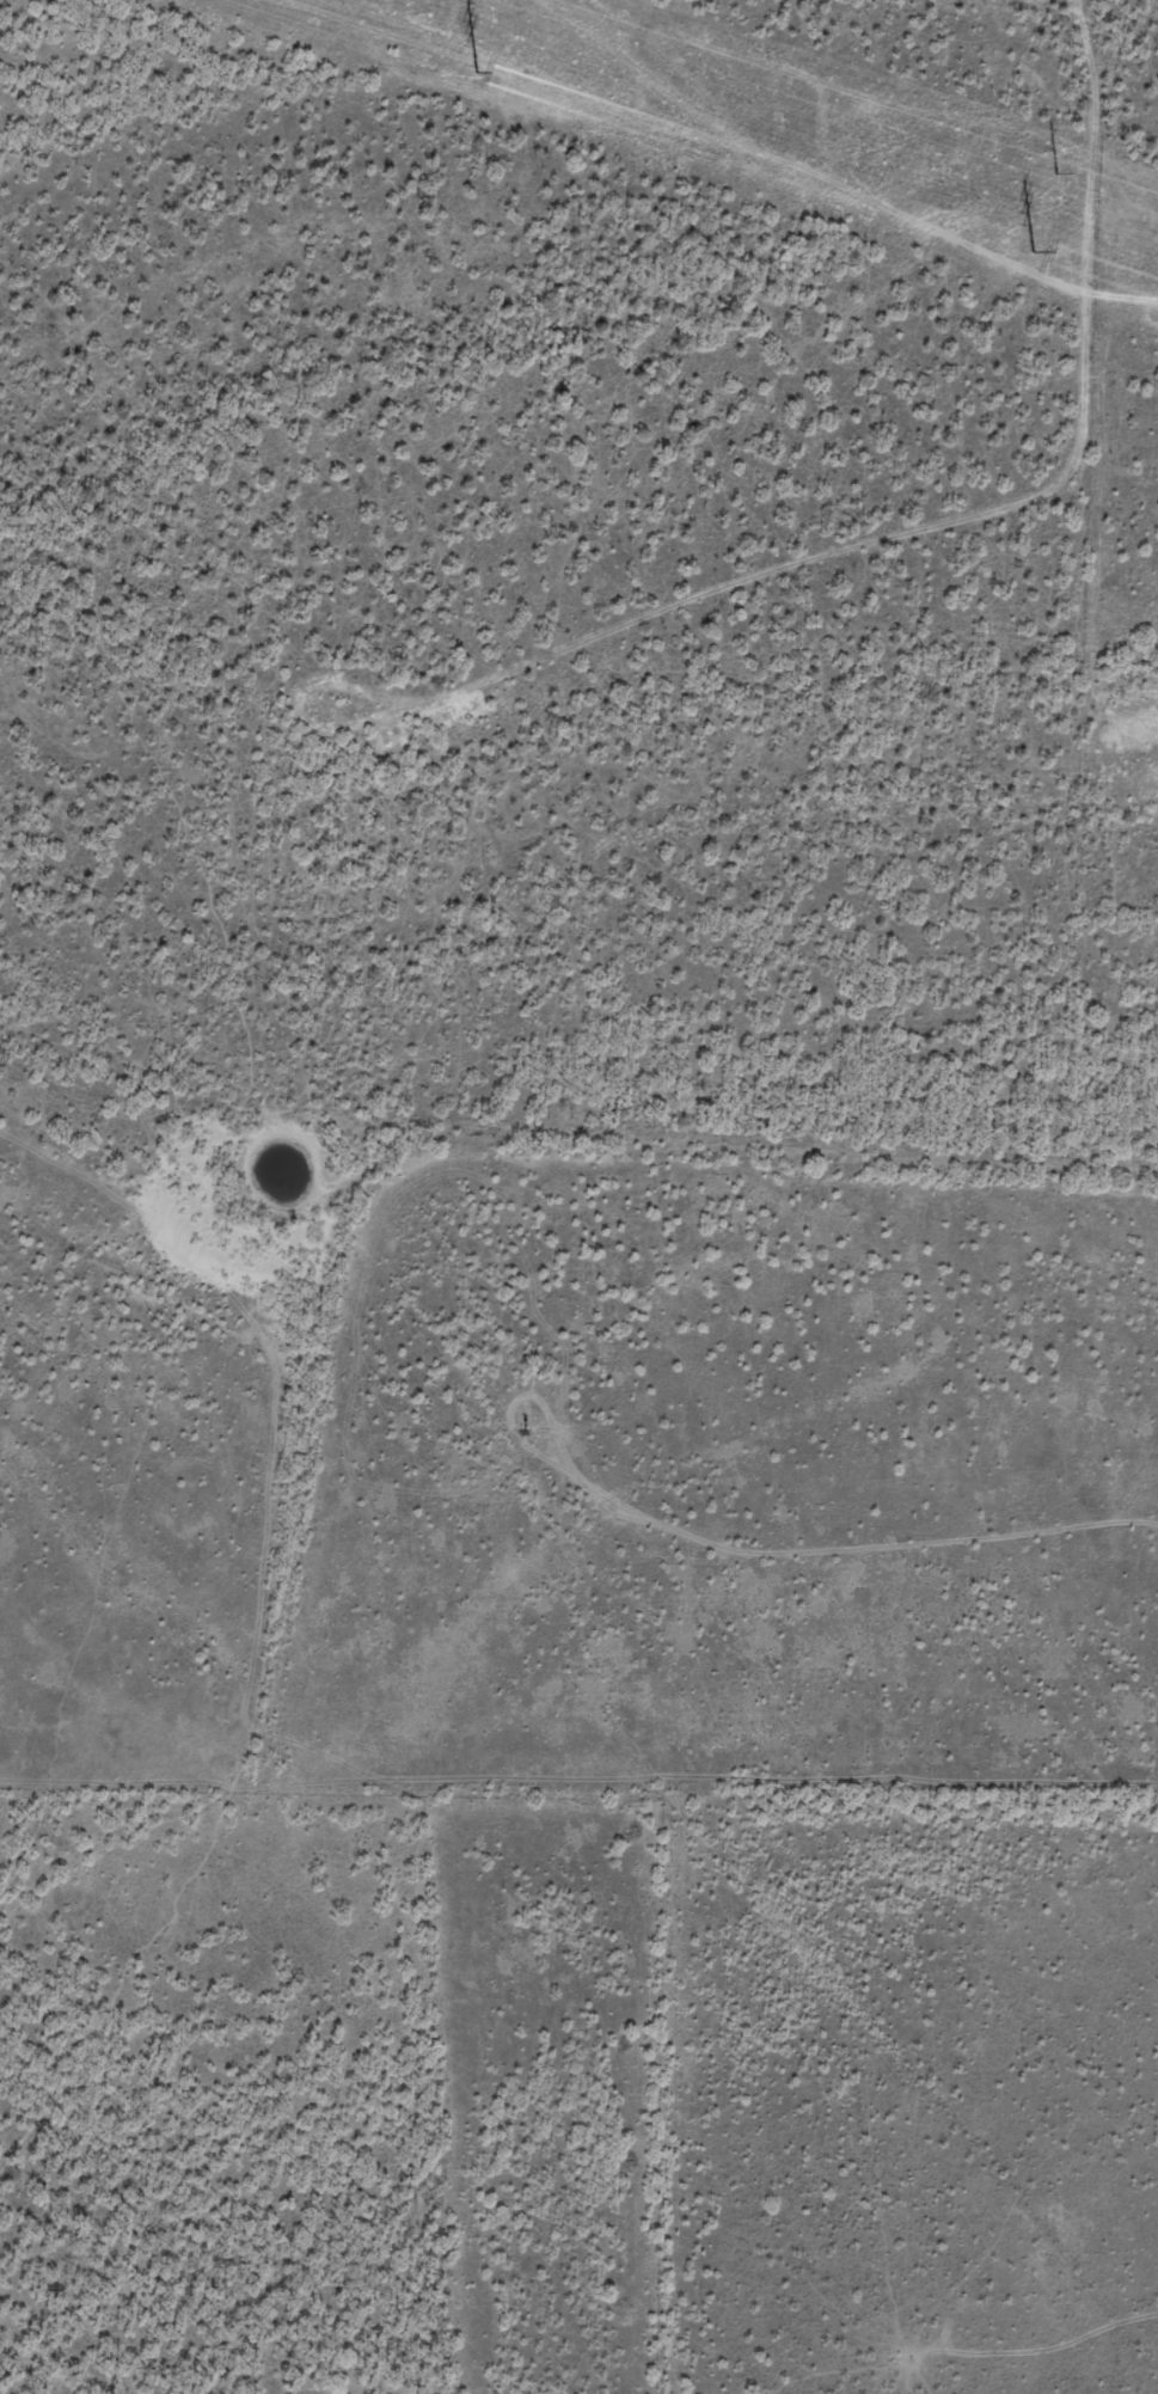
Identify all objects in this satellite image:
power tower: (472, 71)
power tower: (1059, 178)
power tower: (1033, 251)
road: (982, 544)

